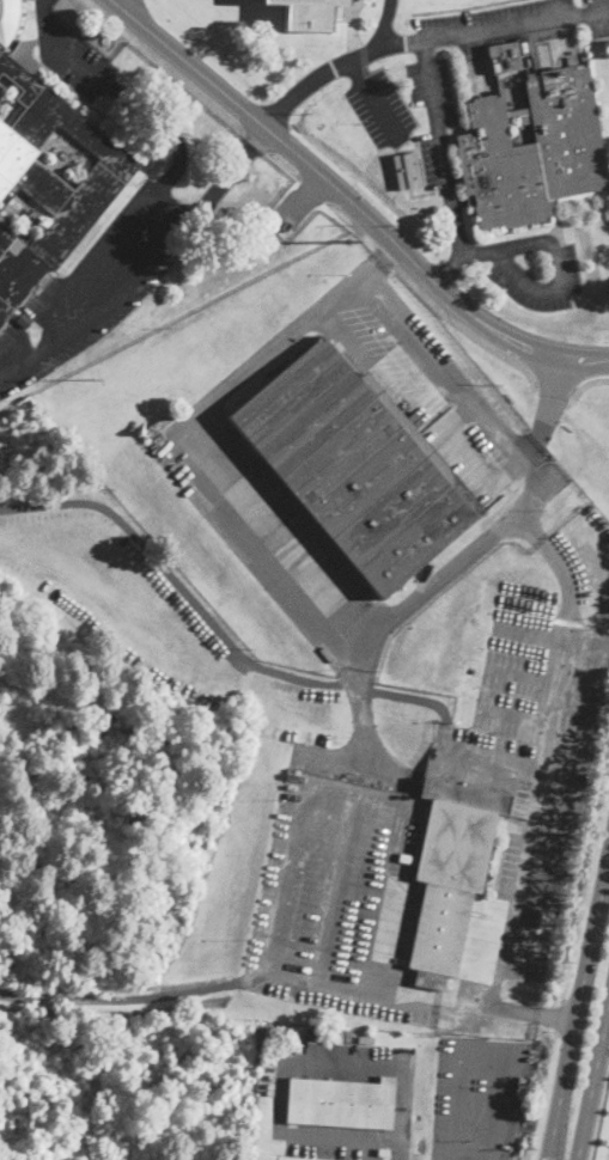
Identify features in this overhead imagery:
road: (120, 4)
road: (562, 10)
building: (309, 13)
parking lot: (483, 18)
parking lot: (597, 18)
road: (494, 28)
parking lot: (72, 55)
building: (504, 55)
road: (339, 68)
road: (191, 88)
parking lot: (433, 88)
road: (121, 97)
road: (373, 99)
parking lot: (379, 109)
road: (441, 146)
building: (532, 149)
parking lot: (432, 160)
road: (318, 171)
building: (406, 171)
road: (224, 176)
building: (47, 177)
building: (246, 177)
road: (315, 189)
road: (306, 193)
road: (164, 202)
building: (29, 214)
building: (286, 225)
power tower: (349, 245)
road: (487, 251)
building: (67, 262)
parking lot: (506, 282)
parking lot: (99, 283)
road: (541, 288)
road: (430, 301)
building: (24, 319)
road: (23, 358)
road: (565, 359)
road: (390, 367)
power tower: (95, 379)
road: (589, 383)
parking lot: (433, 386)
road: (555, 387)
building: (162, 422)
road: (172, 429)
road: (224, 438)
building: (352, 469)
road: (596, 631)
road: (224, 633)
road: (520, 677)
road: (358, 707)
road: (512, 718)
parking lot: (532, 740)
road: (542, 755)
road: (566, 777)
road: (354, 795)
building: (406, 857)
building: (450, 874)
road: (336, 889)
parking lot: (343, 904)
building: (547, 916)
road: (373, 993)
road: (134, 997)
road: (578, 1007)
road: (529, 1013)
building: (366, 1040)
road: (489, 1046)
building: (282, 1049)
road: (284, 1062)
road: (592, 1080)
parking lot: (479, 1099)
building: (341, 1103)
road: (601, 1119)
park: (603, 1132)
parking lot: (325, 1141)
road: (397, 1149)
building: (383, 1152)

